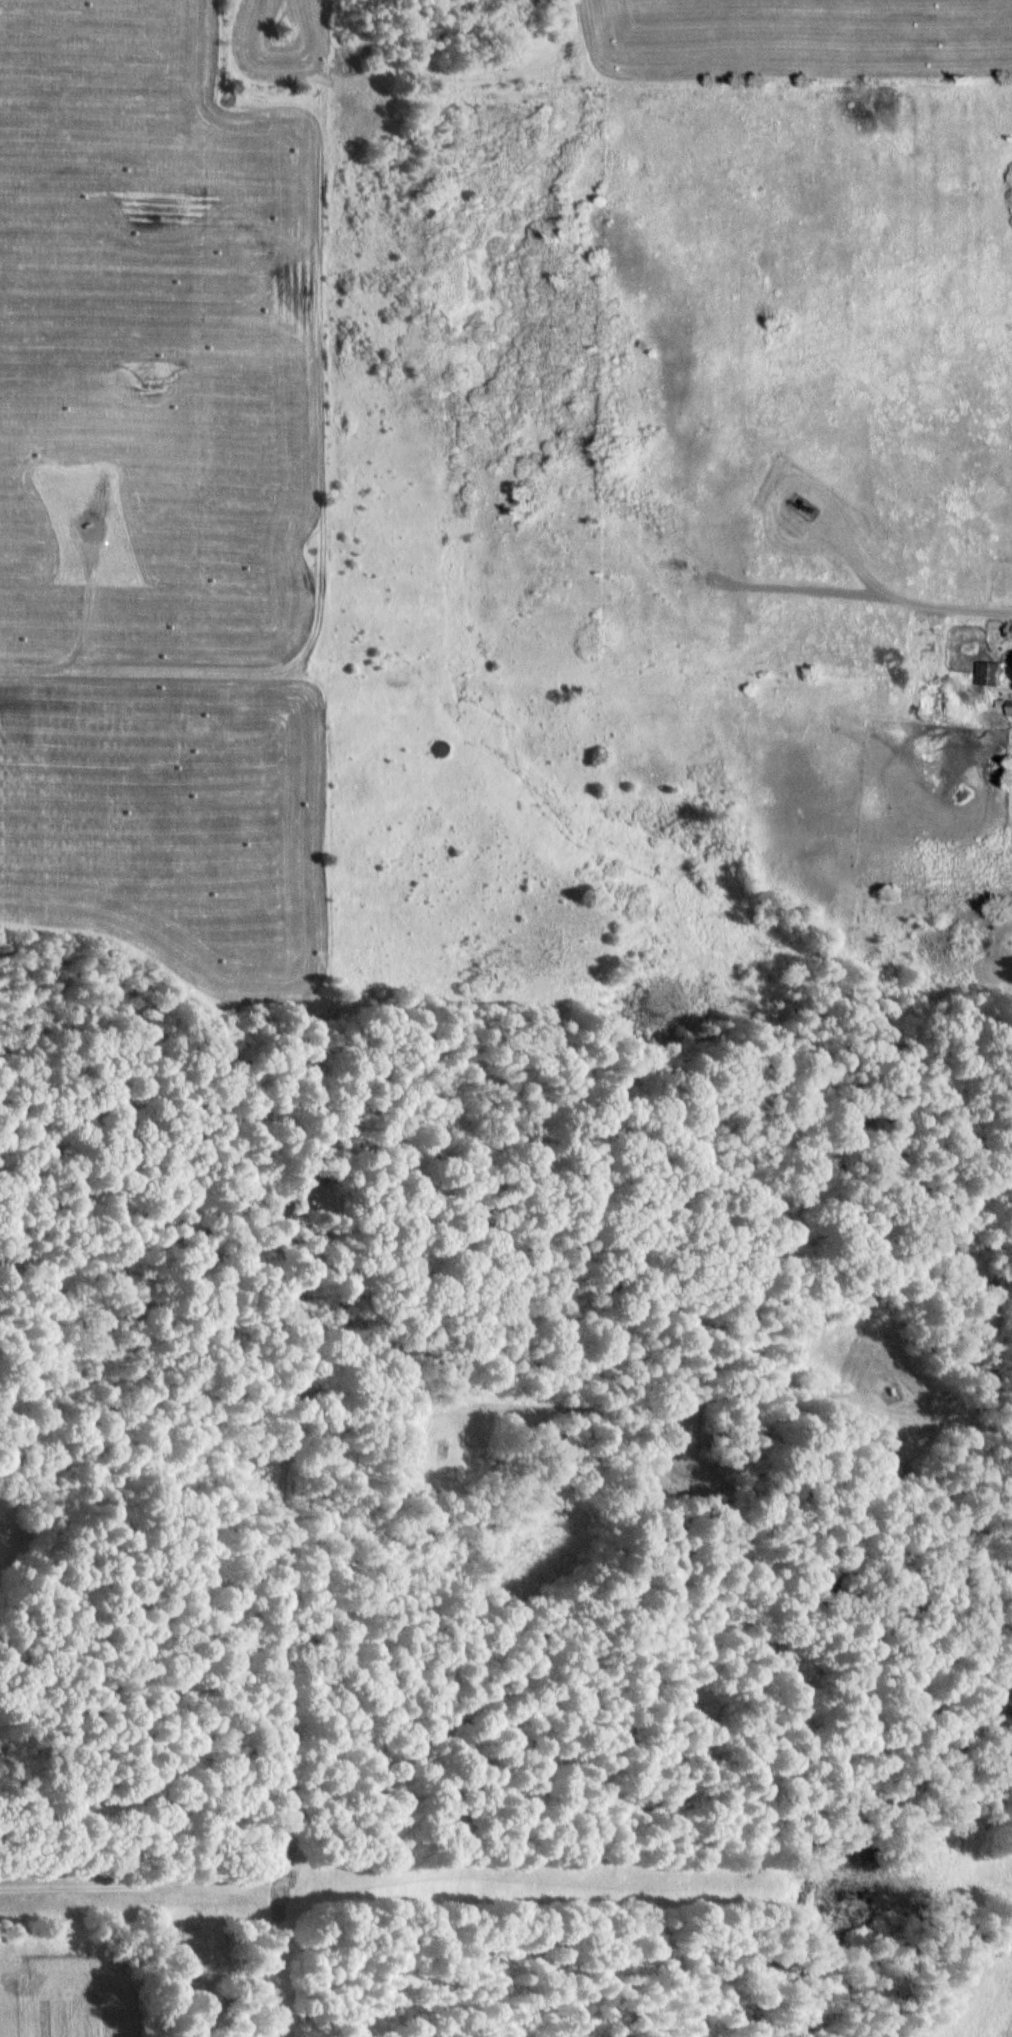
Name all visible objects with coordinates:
petroleum well: (804, 497)
road: (900, 596)
building: (990, 673)
road: (576, 1402)

